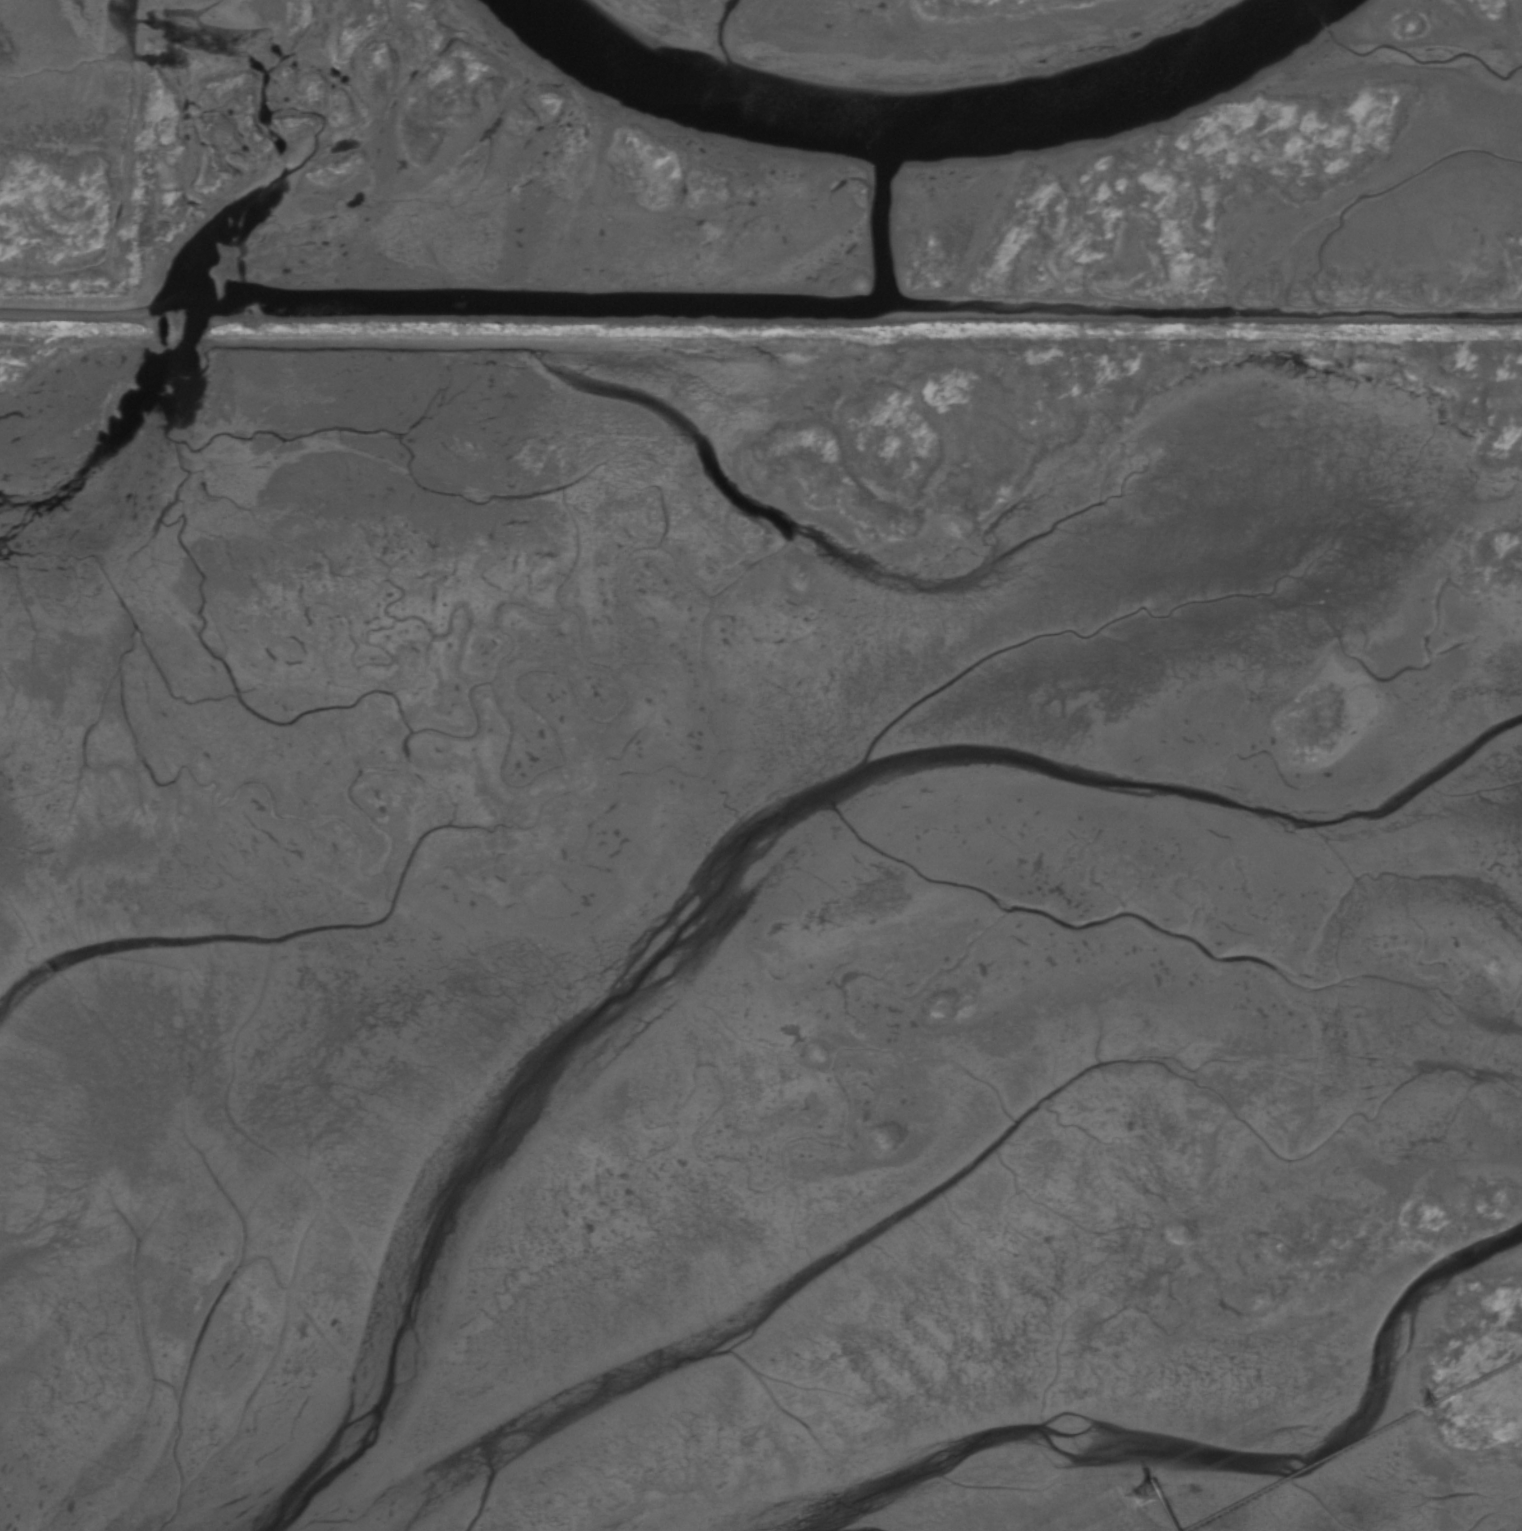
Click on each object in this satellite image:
power tower: (1427, 1406)
power tower: (1145, 1496)

